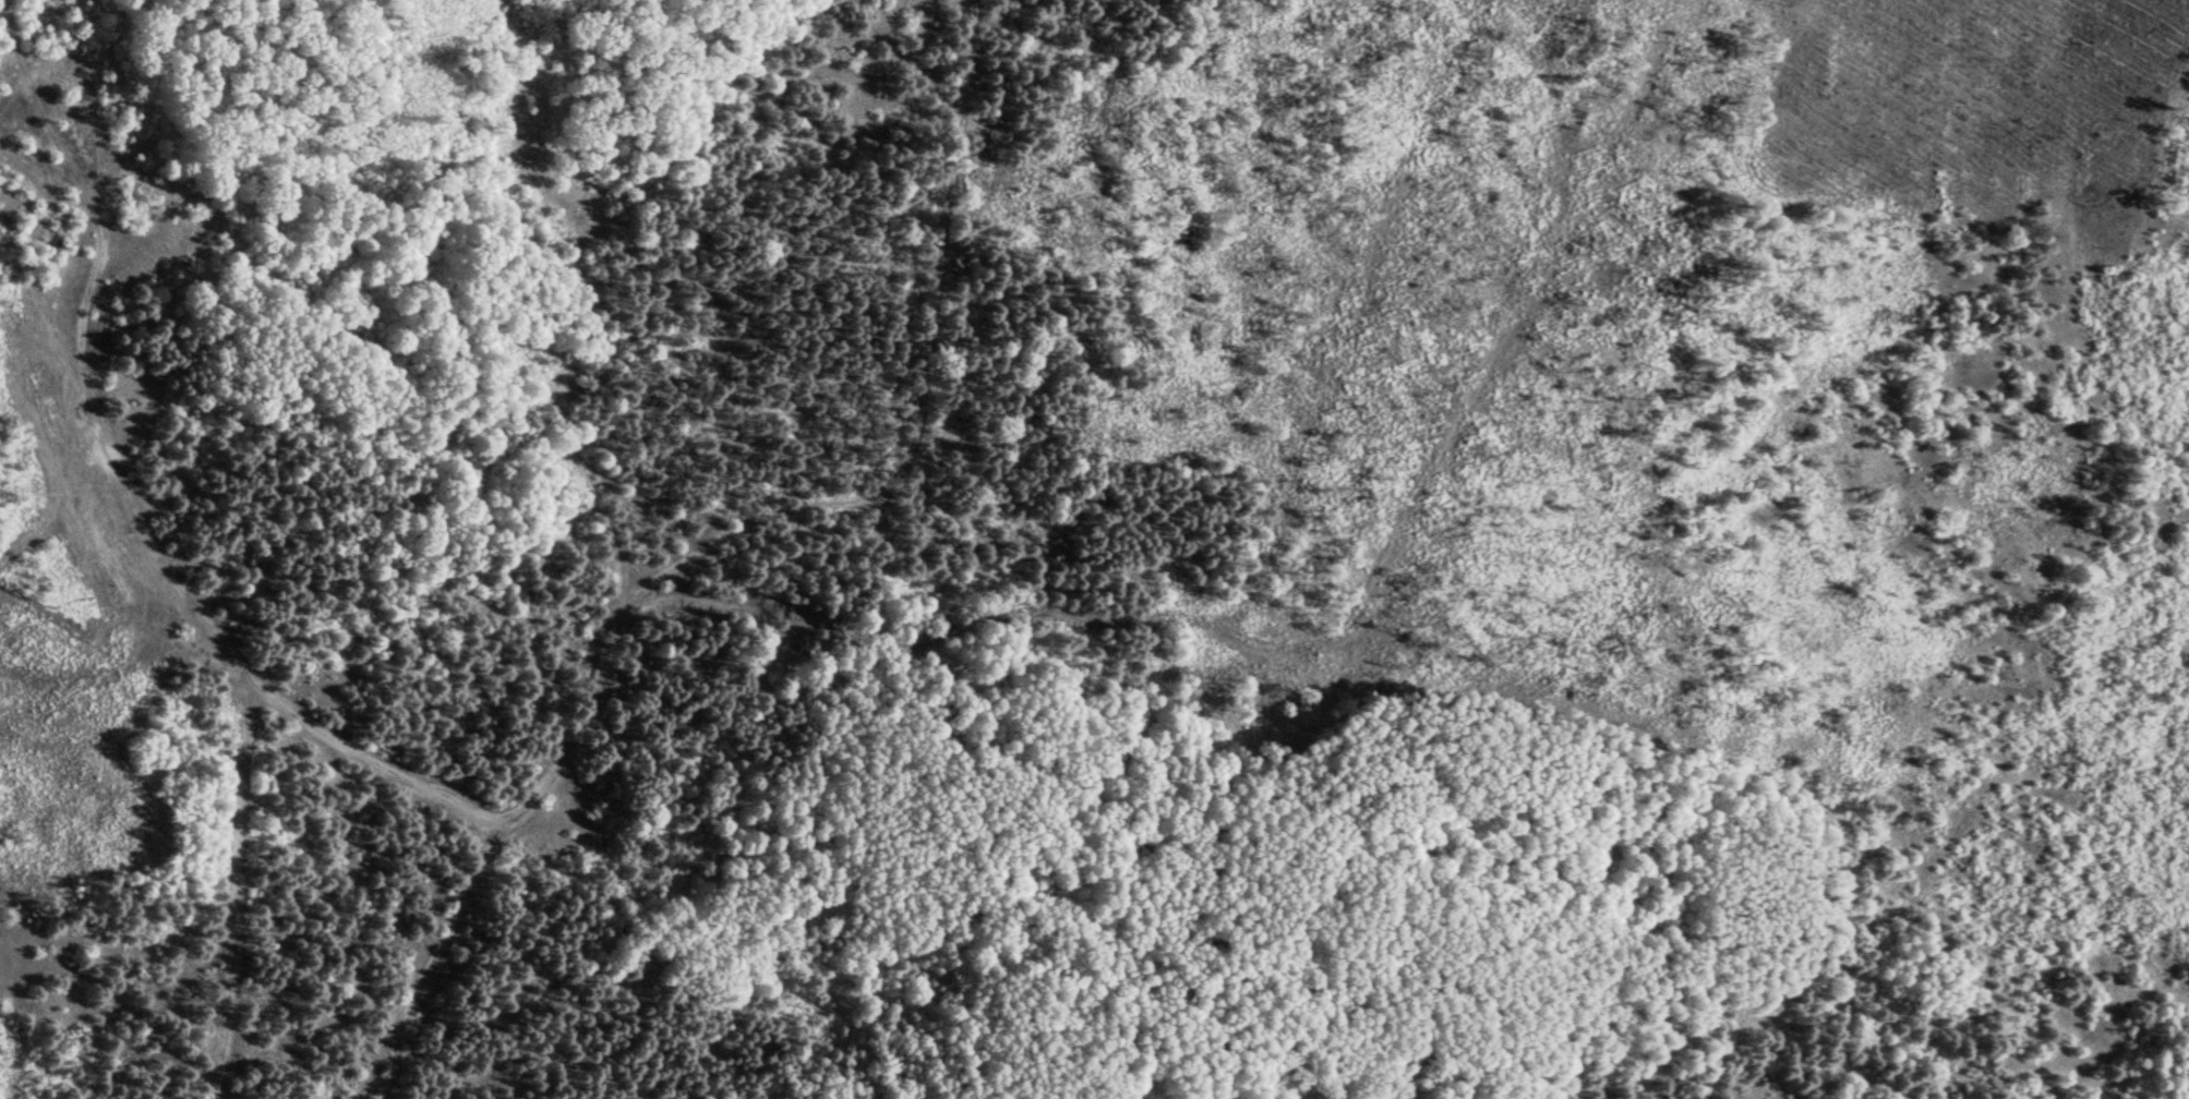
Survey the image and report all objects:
road: (598, 492)

